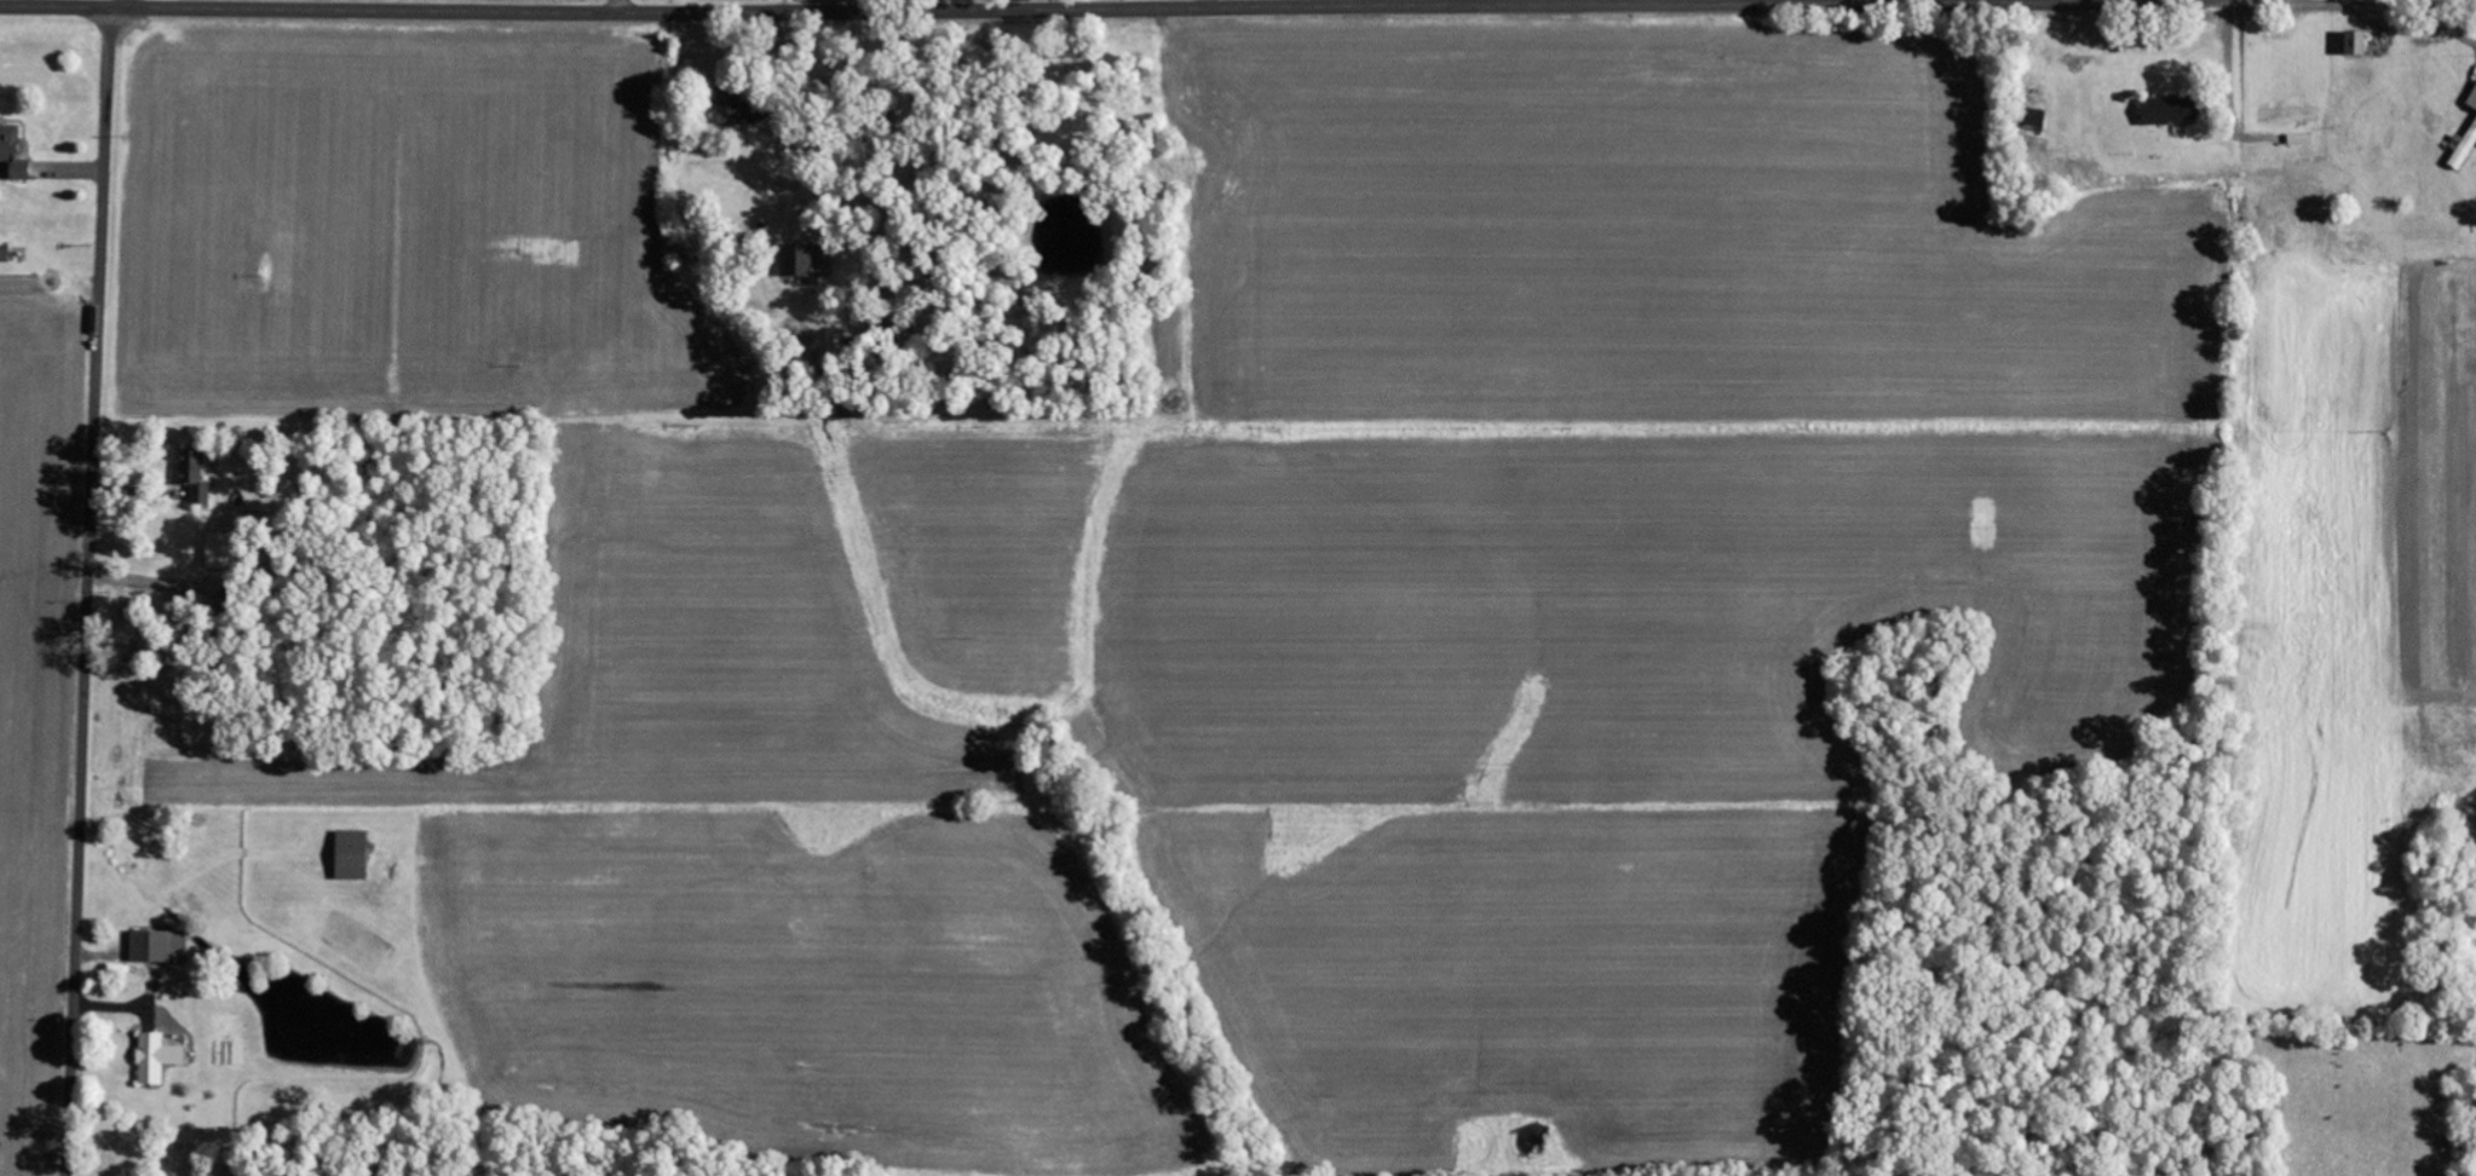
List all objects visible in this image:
road: (621, 6)
road: (954, 11)
building: (2359, 44)
building: (2472, 102)
building: (735, 109)
building: (2173, 111)
building: (2290, 115)
building: (2037, 120)
building: (2465, 148)
building: (15, 152)
building: (6, 256)
building: (807, 263)
building: (198, 477)
road: (86, 590)
building: (353, 855)
building: (160, 947)
building: (159, 1057)

